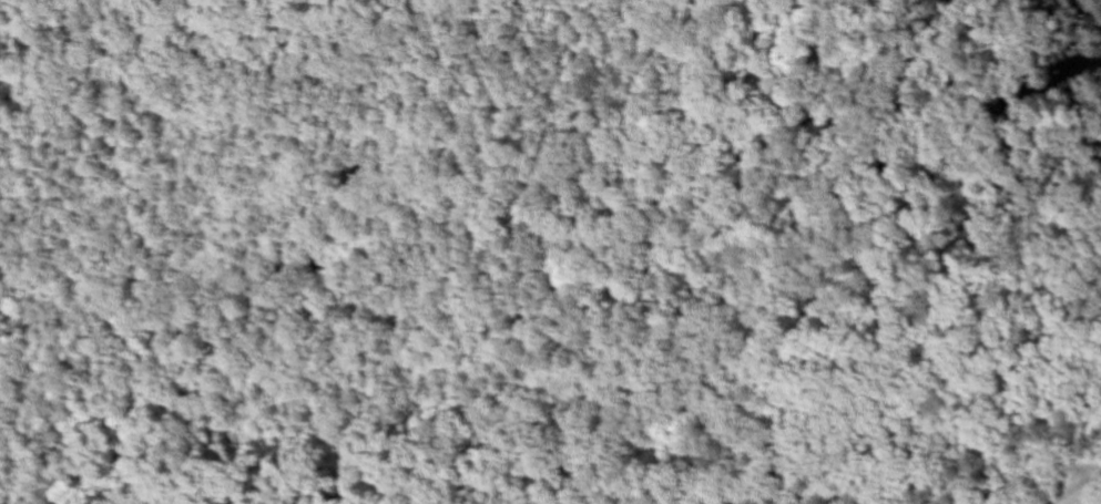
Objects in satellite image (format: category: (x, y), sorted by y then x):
road: (721, 255)
road: (1036, 475)
road: (794, 490)
road: (1080, 492)

